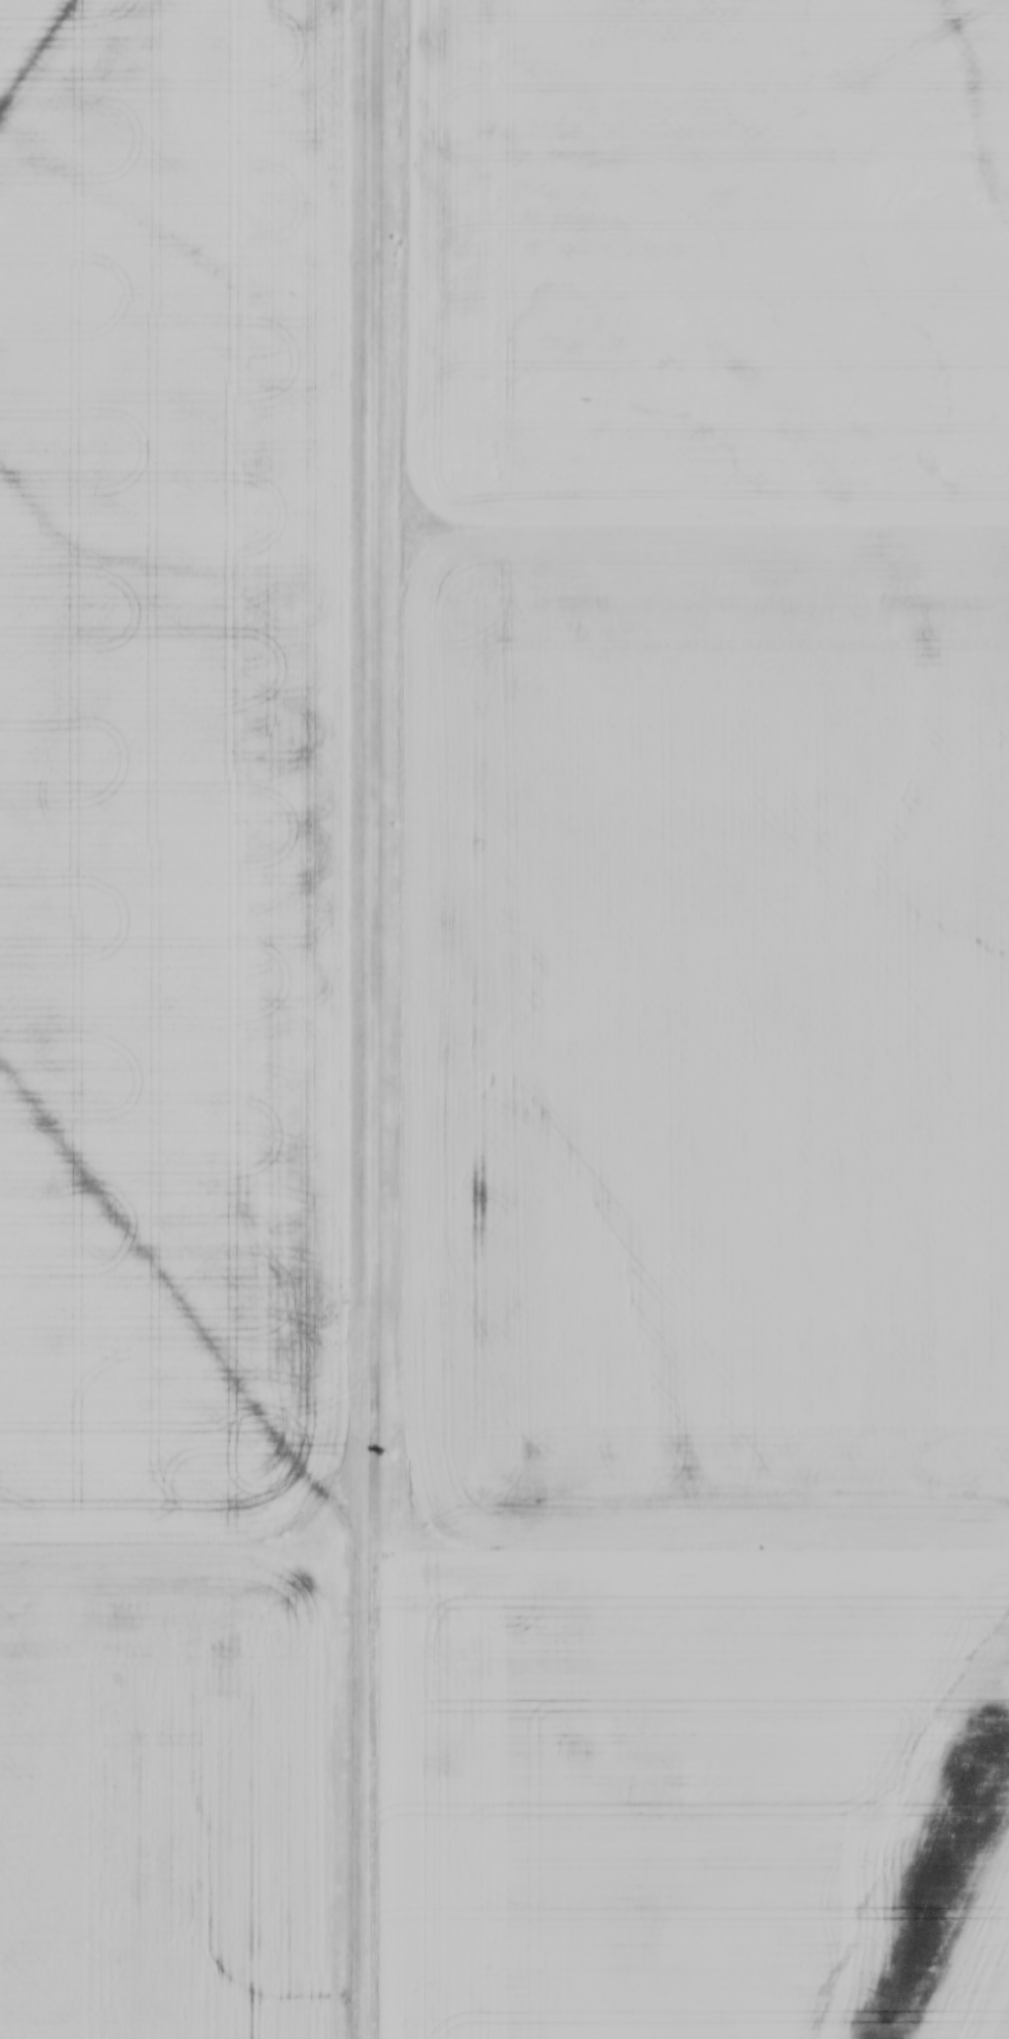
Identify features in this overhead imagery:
crop: (168, 763)
road: (368, 1019)

